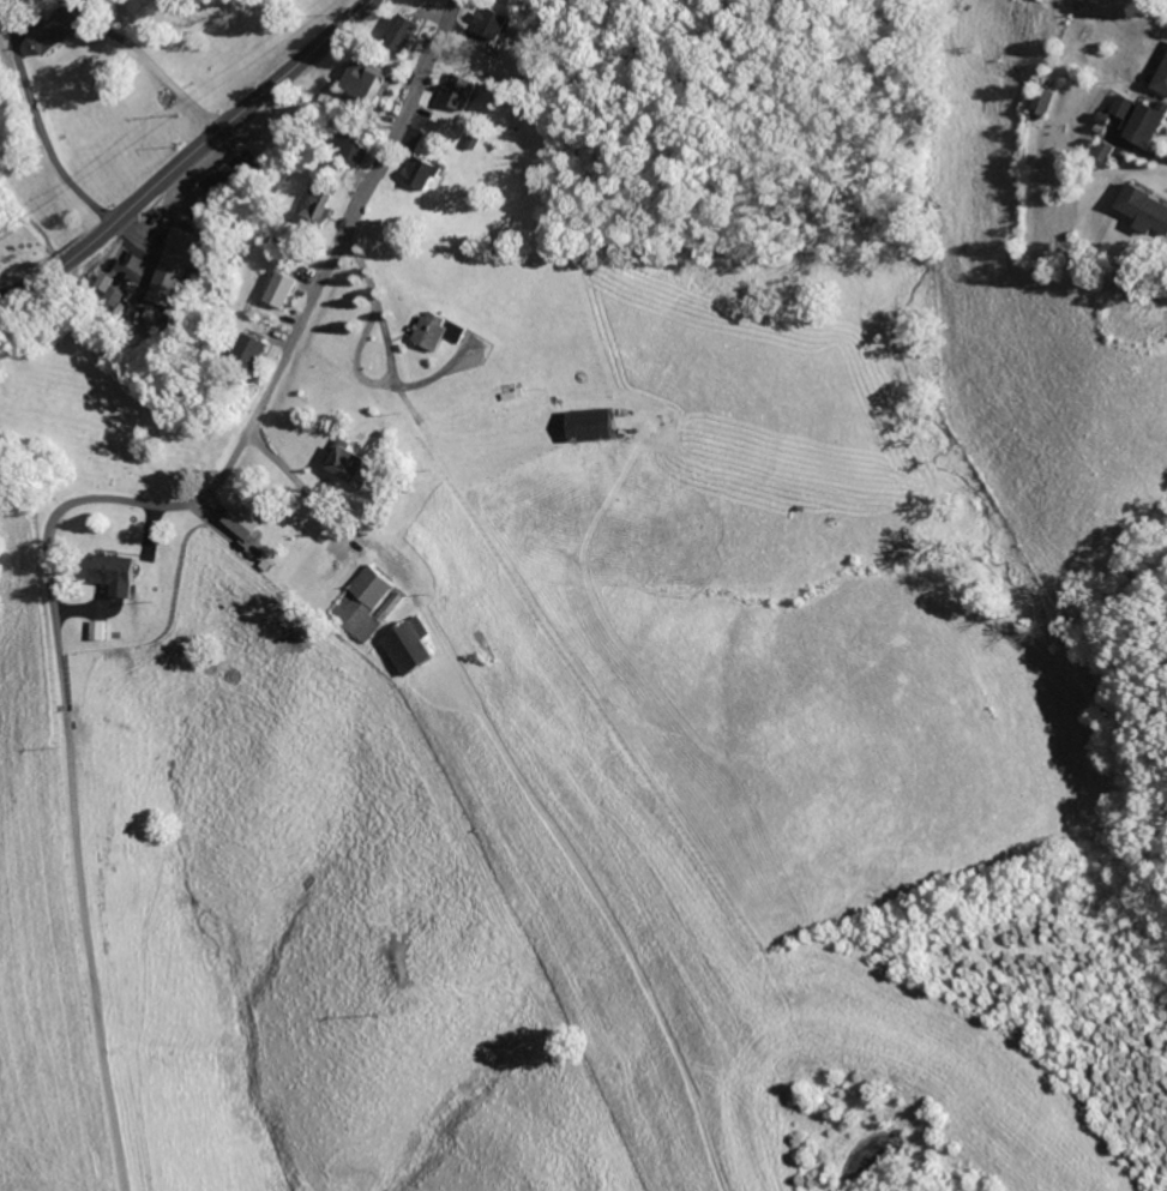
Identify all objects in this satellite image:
building: (494, 23)
building: (59, 29)
building: (402, 31)
building: (1156, 73)
building: (367, 80)
building: (461, 91)
building: (1040, 101)
building: (1131, 119)
building: (1093, 120)
building: (1147, 124)
building: (475, 142)
building: (356, 148)
building: (1093, 149)
building: (1105, 150)
road: (186, 154)
building: (423, 172)
building: (225, 178)
building: (315, 206)
building: (1136, 207)
building: (175, 263)
building: (102, 279)
building: (282, 288)
building: (438, 330)
building: (252, 348)
road: (390, 353)
building: (600, 425)
park: (120, 459)
building: (360, 467)
road: (67, 505)
building: (249, 521)
building: (120, 572)
building: (373, 601)
building: (100, 628)
building: (415, 645)

